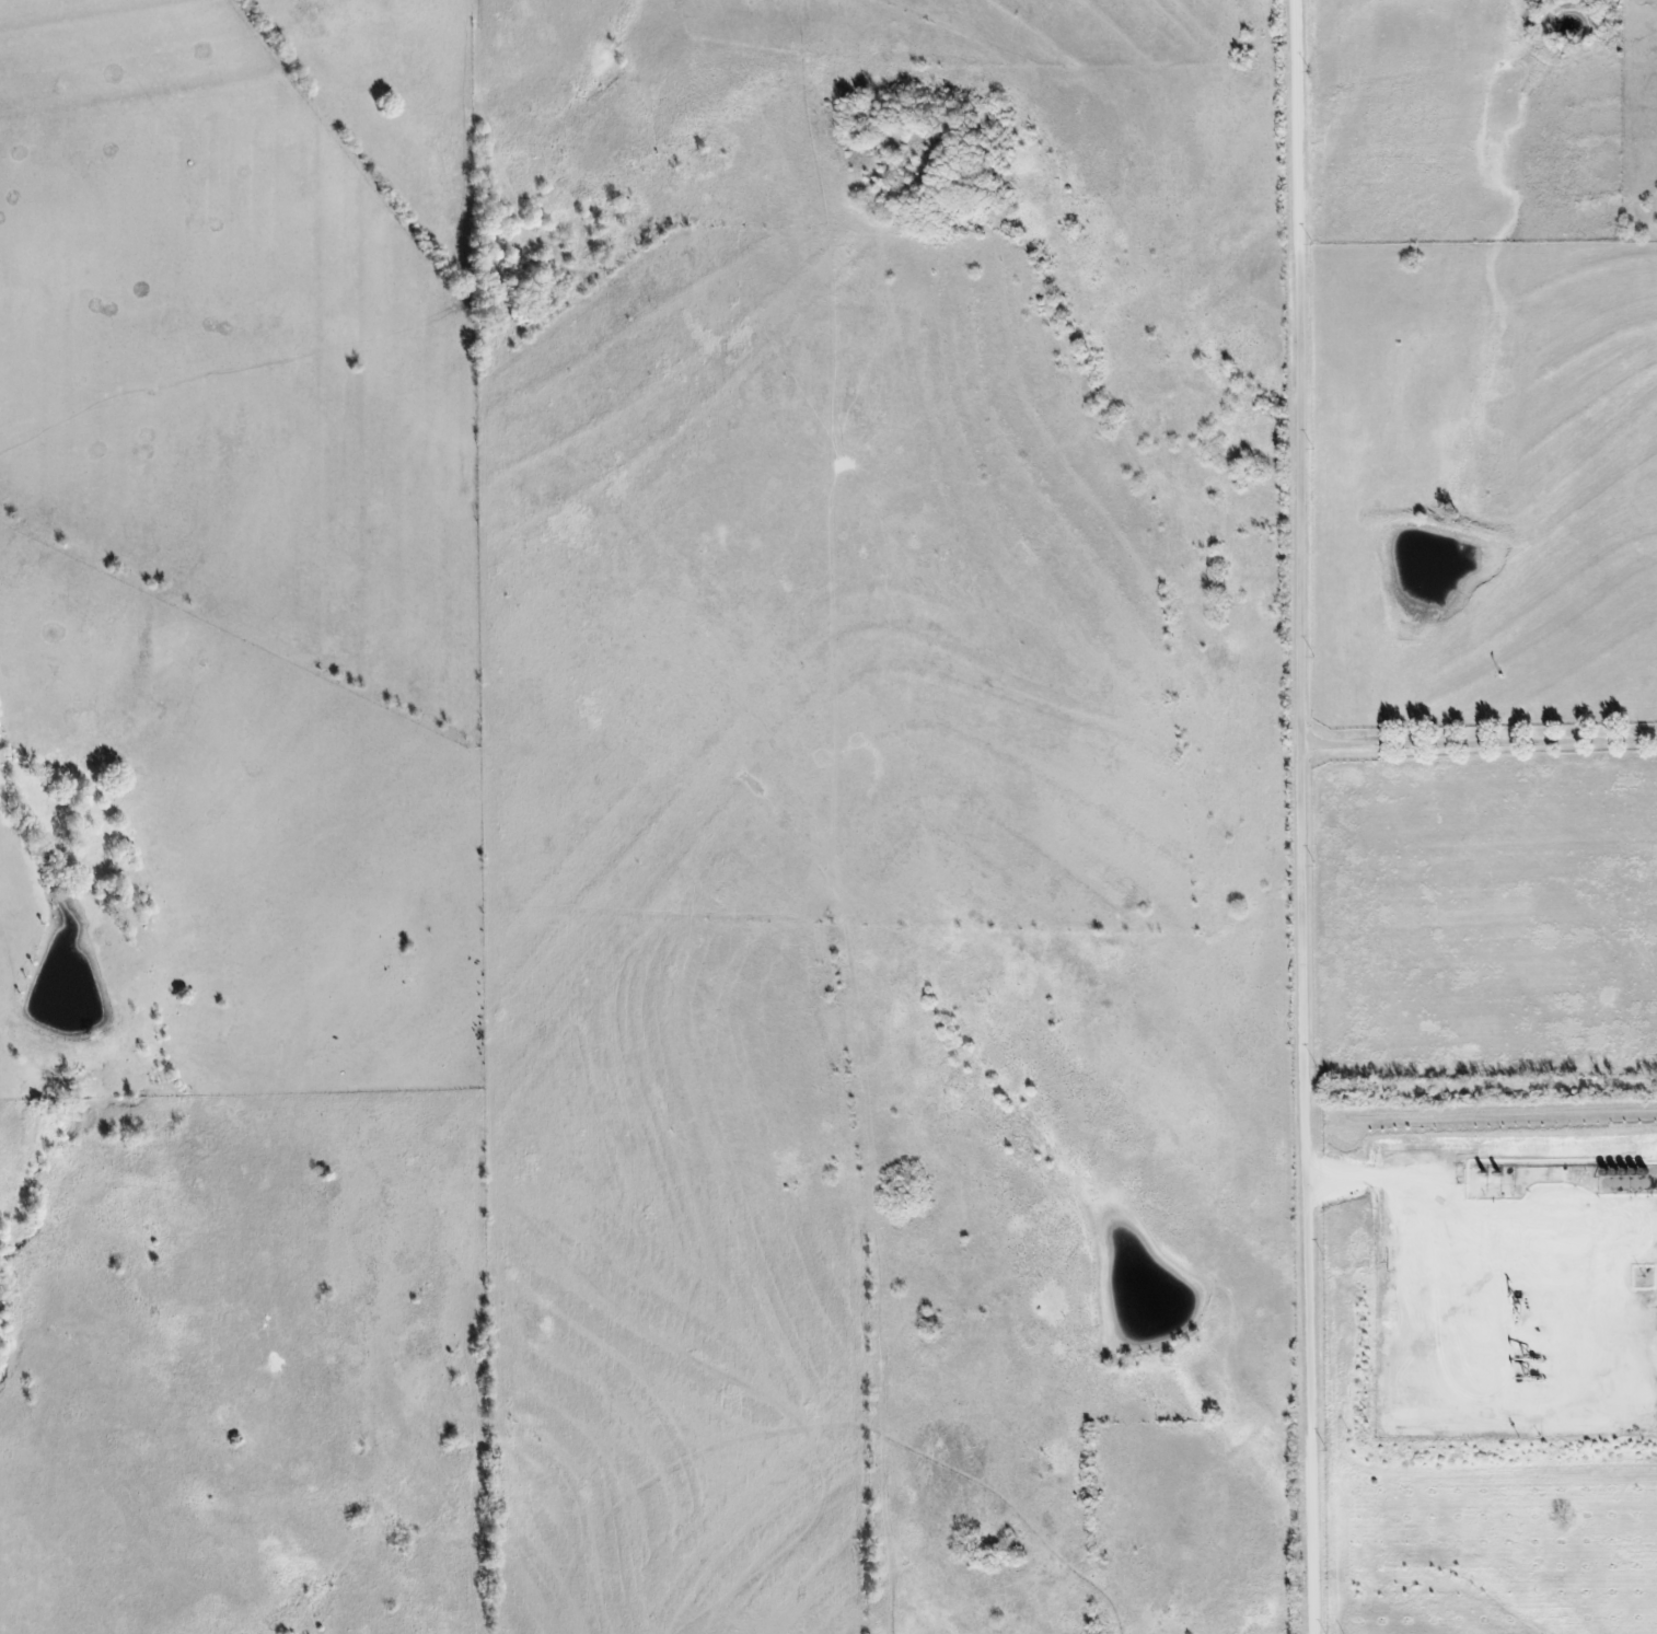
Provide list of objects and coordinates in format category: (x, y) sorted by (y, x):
road: (1478, 737)
road: (1301, 806)
road: (1480, 1082)
road: (1318, 1623)

